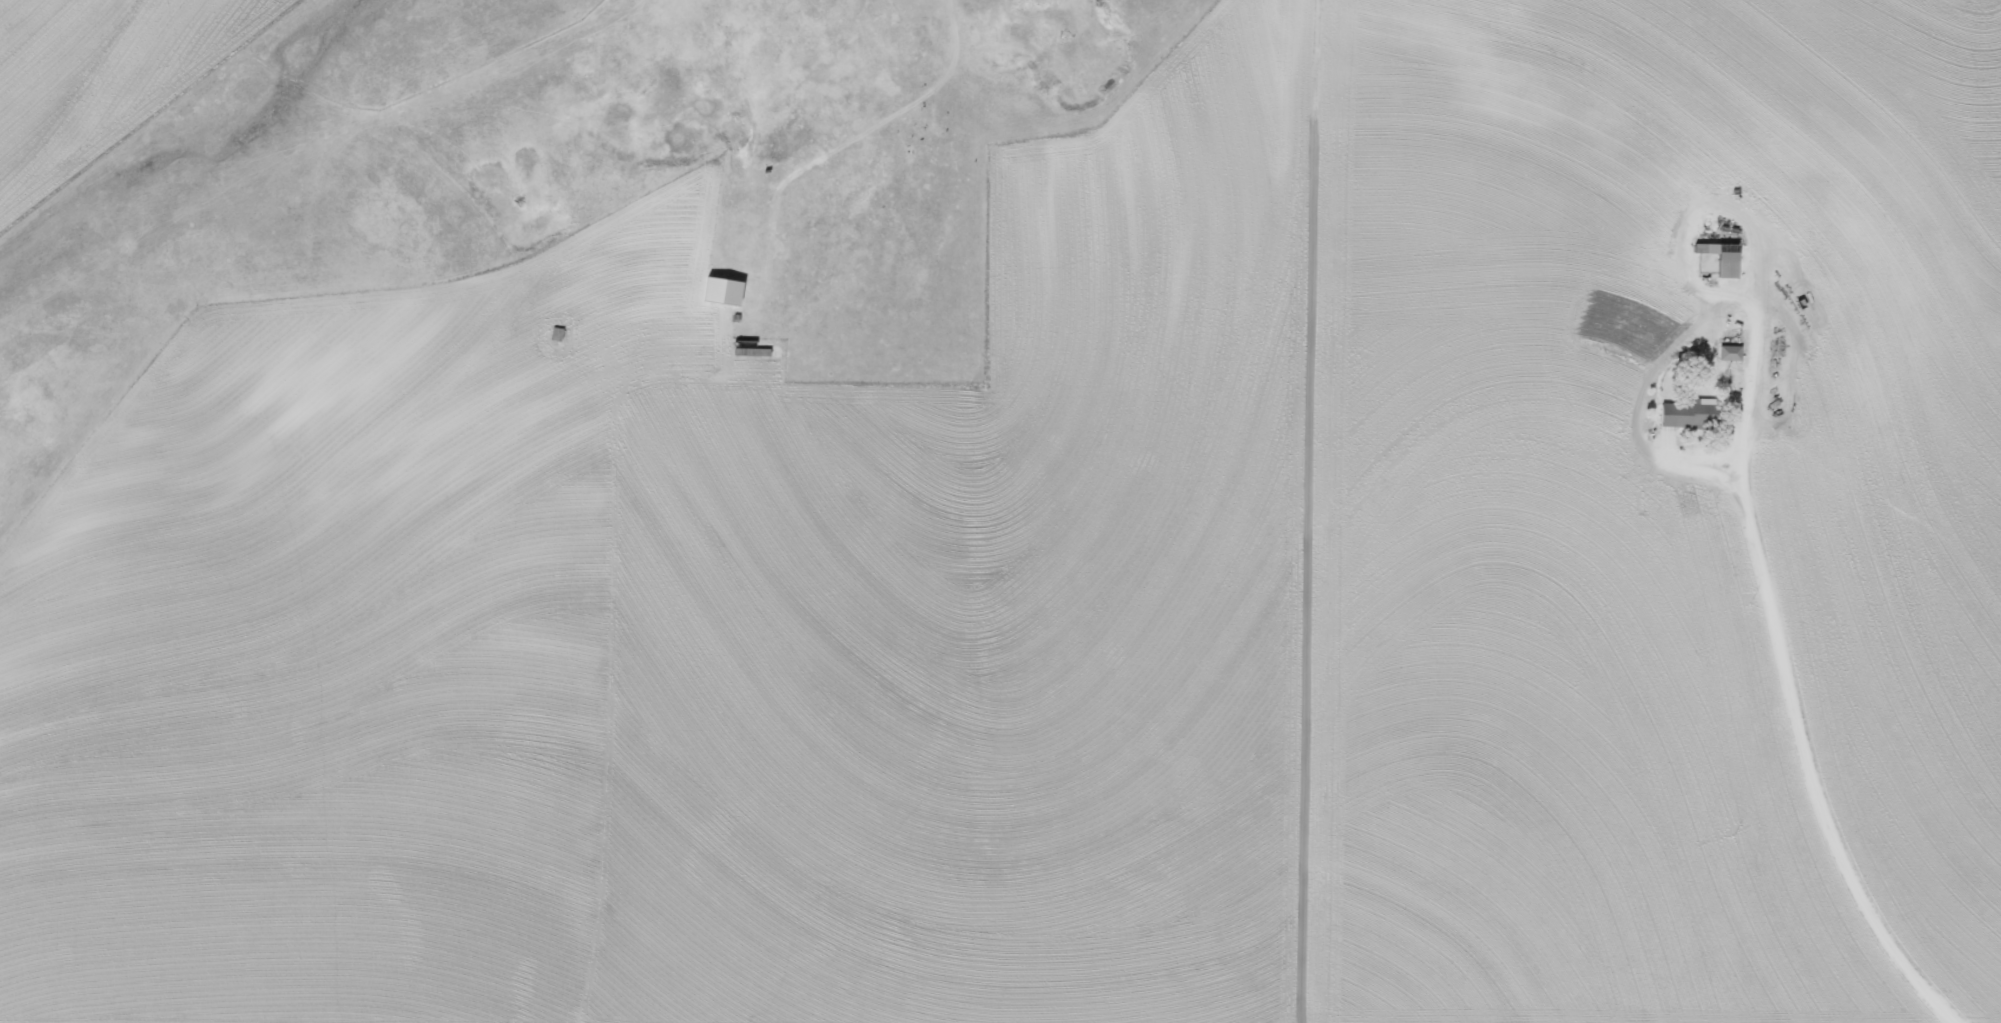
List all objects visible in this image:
building: (1733, 353)
building: (1693, 414)
road: (643, 436)
road: (1807, 736)

